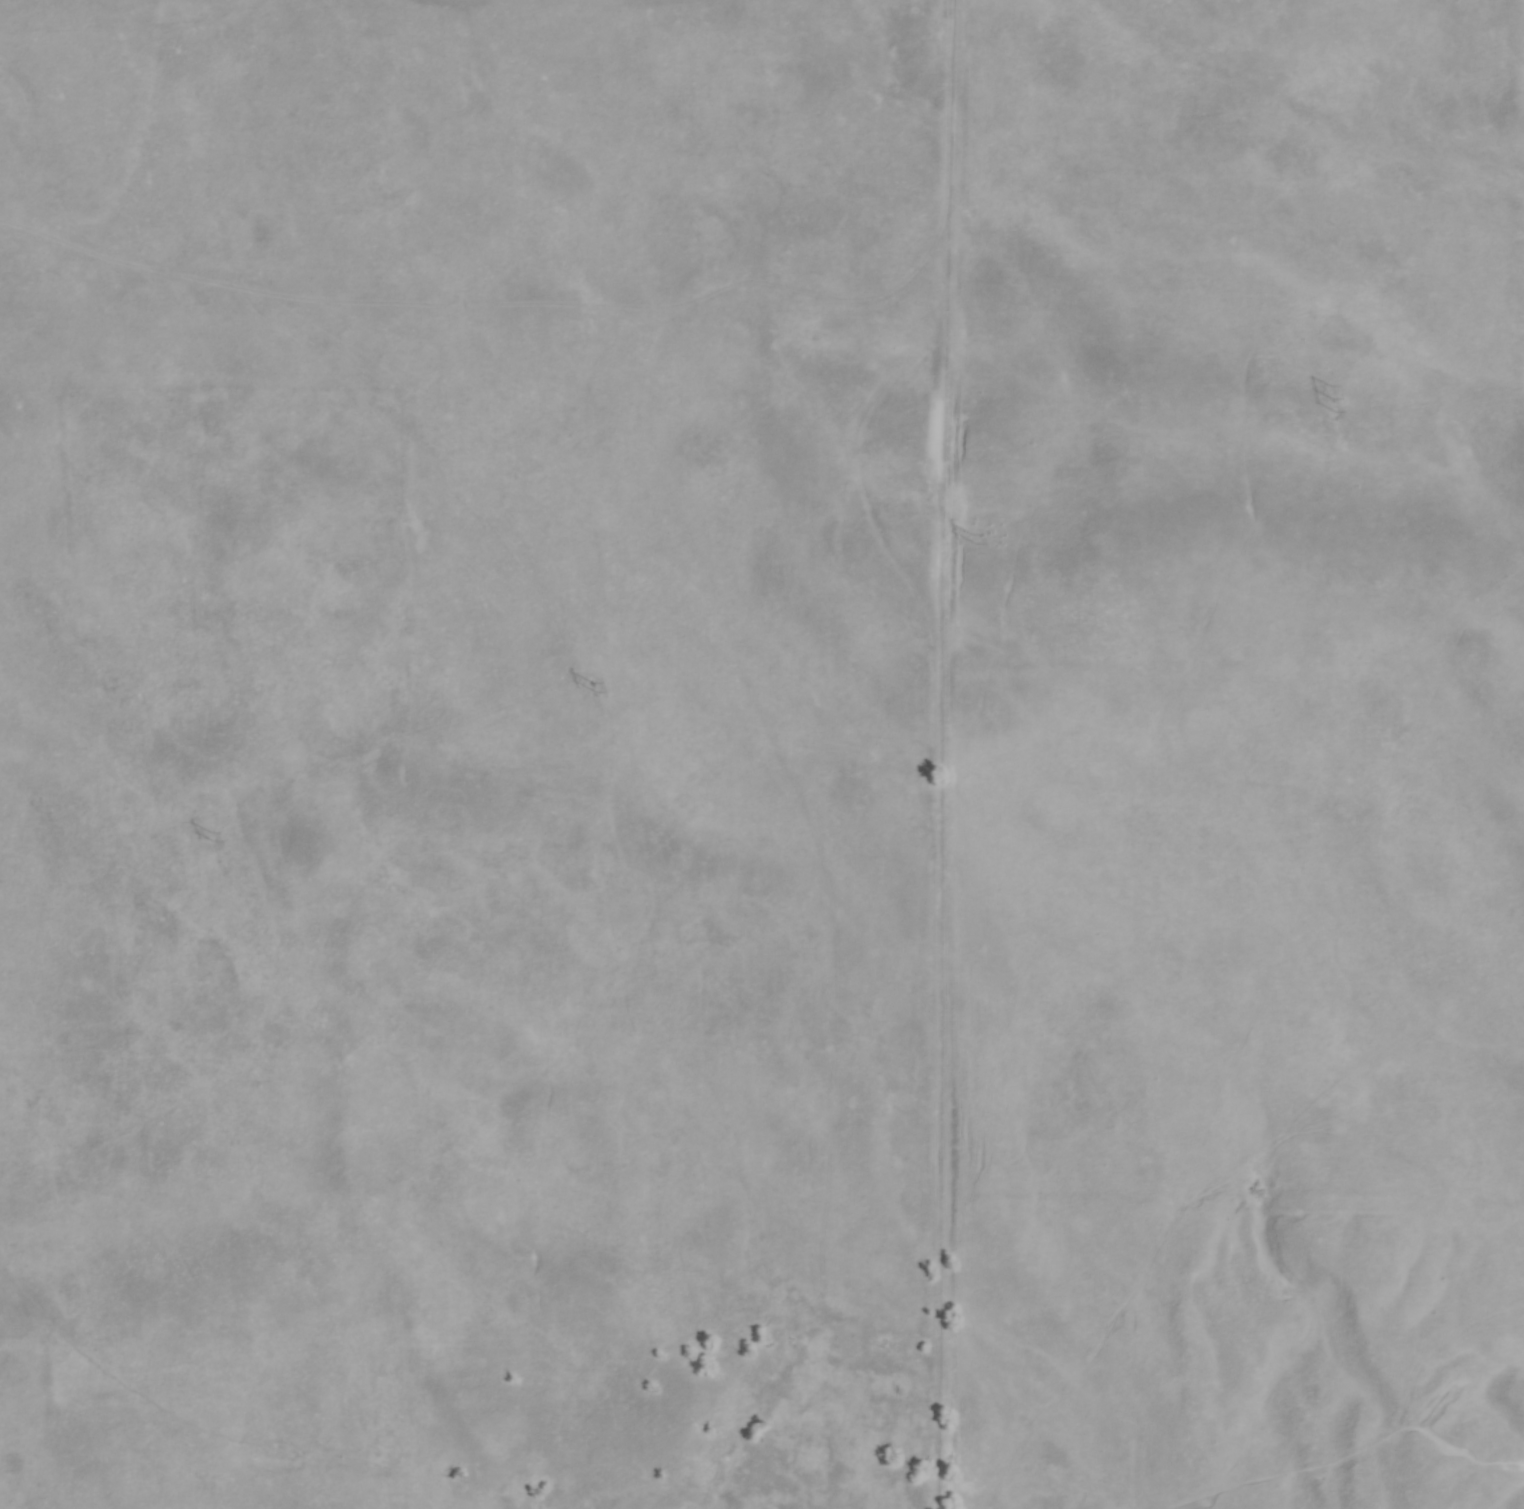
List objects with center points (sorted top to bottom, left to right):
power tower: (1330, 401)
power tower: (972, 541)
power tower: (594, 688)
power tower: (211, 839)

